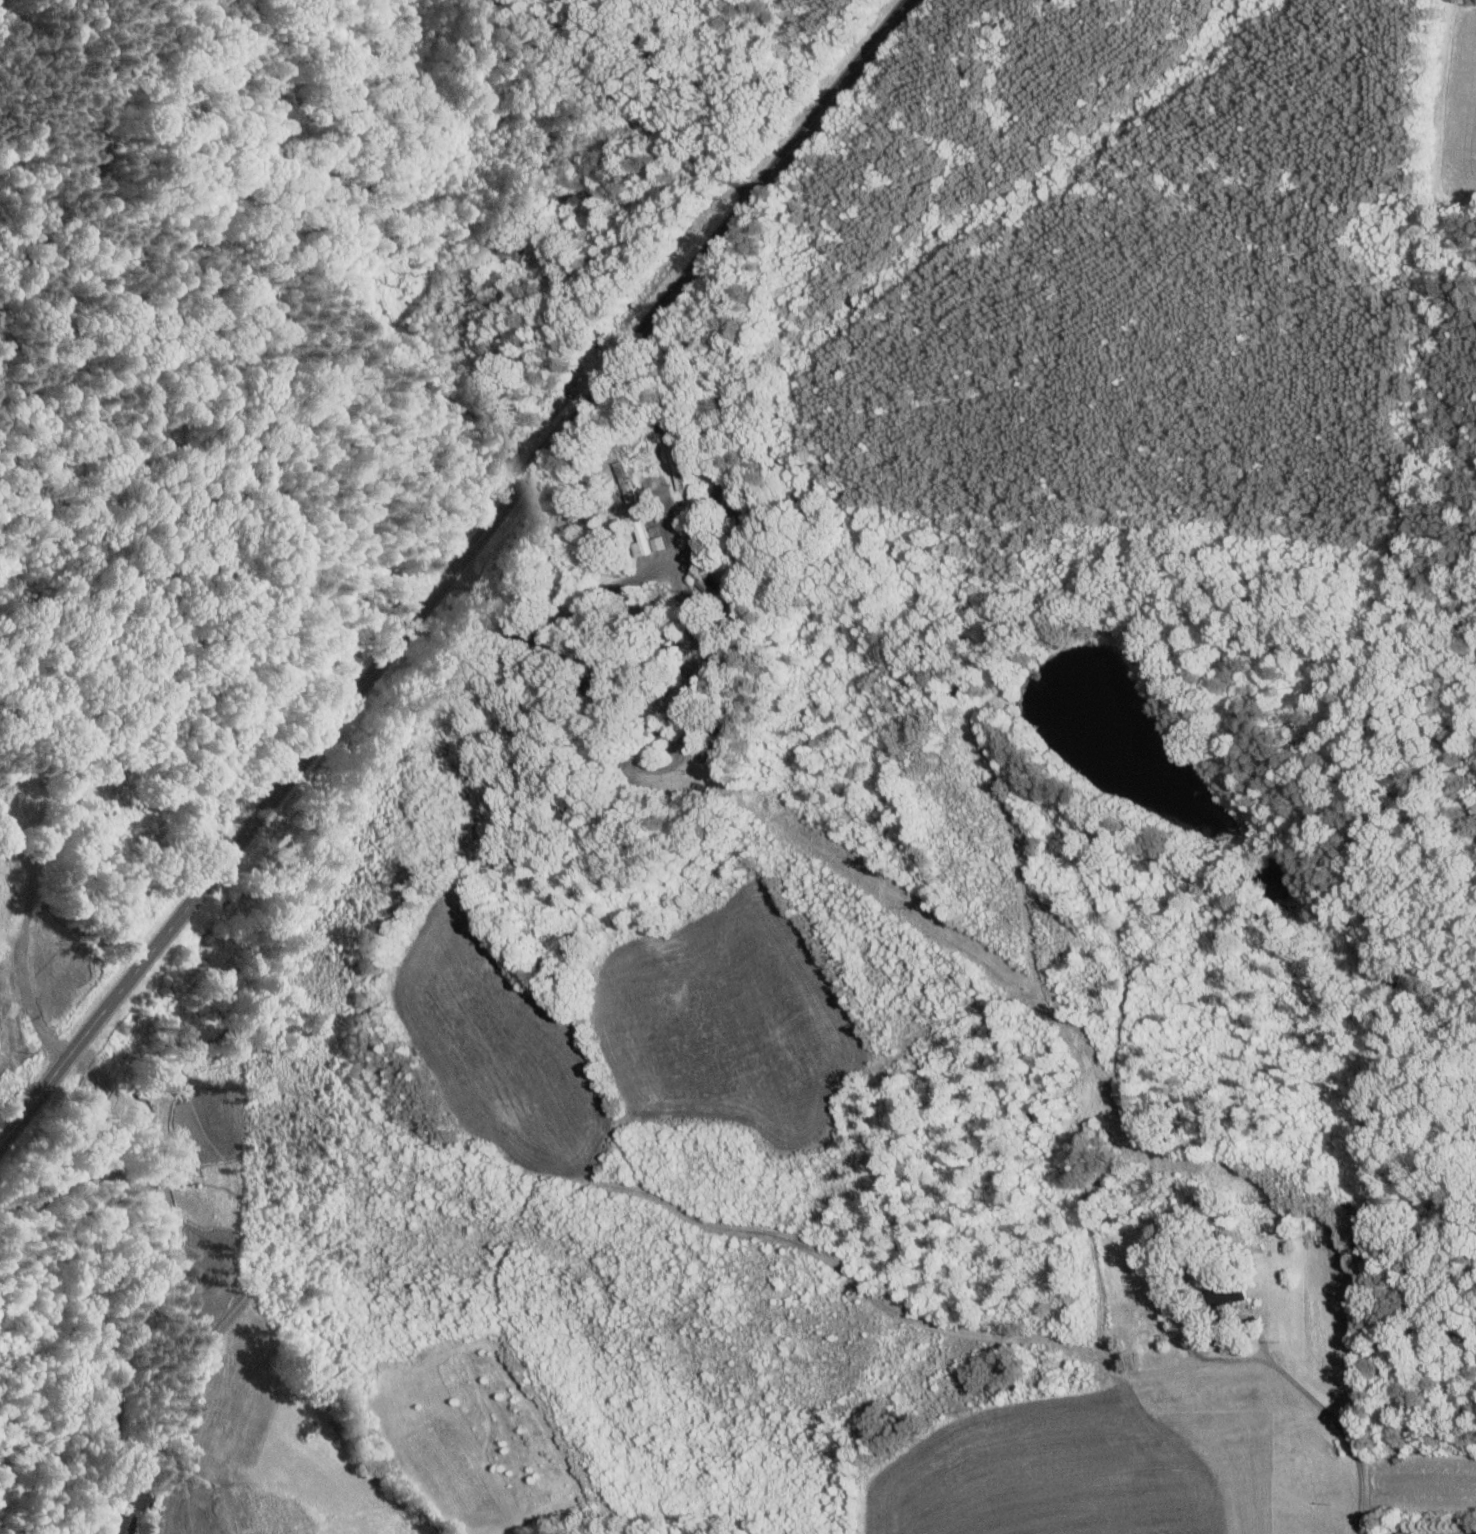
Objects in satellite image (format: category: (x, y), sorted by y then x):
road: (659, 164)
building: (588, 208)
building: (678, 467)
building: (649, 535)
road: (685, 547)
road: (453, 571)
road: (692, 692)
road: (30, 899)
building: (1238, 1291)
road: (1344, 1429)
building: (1407, 1532)

